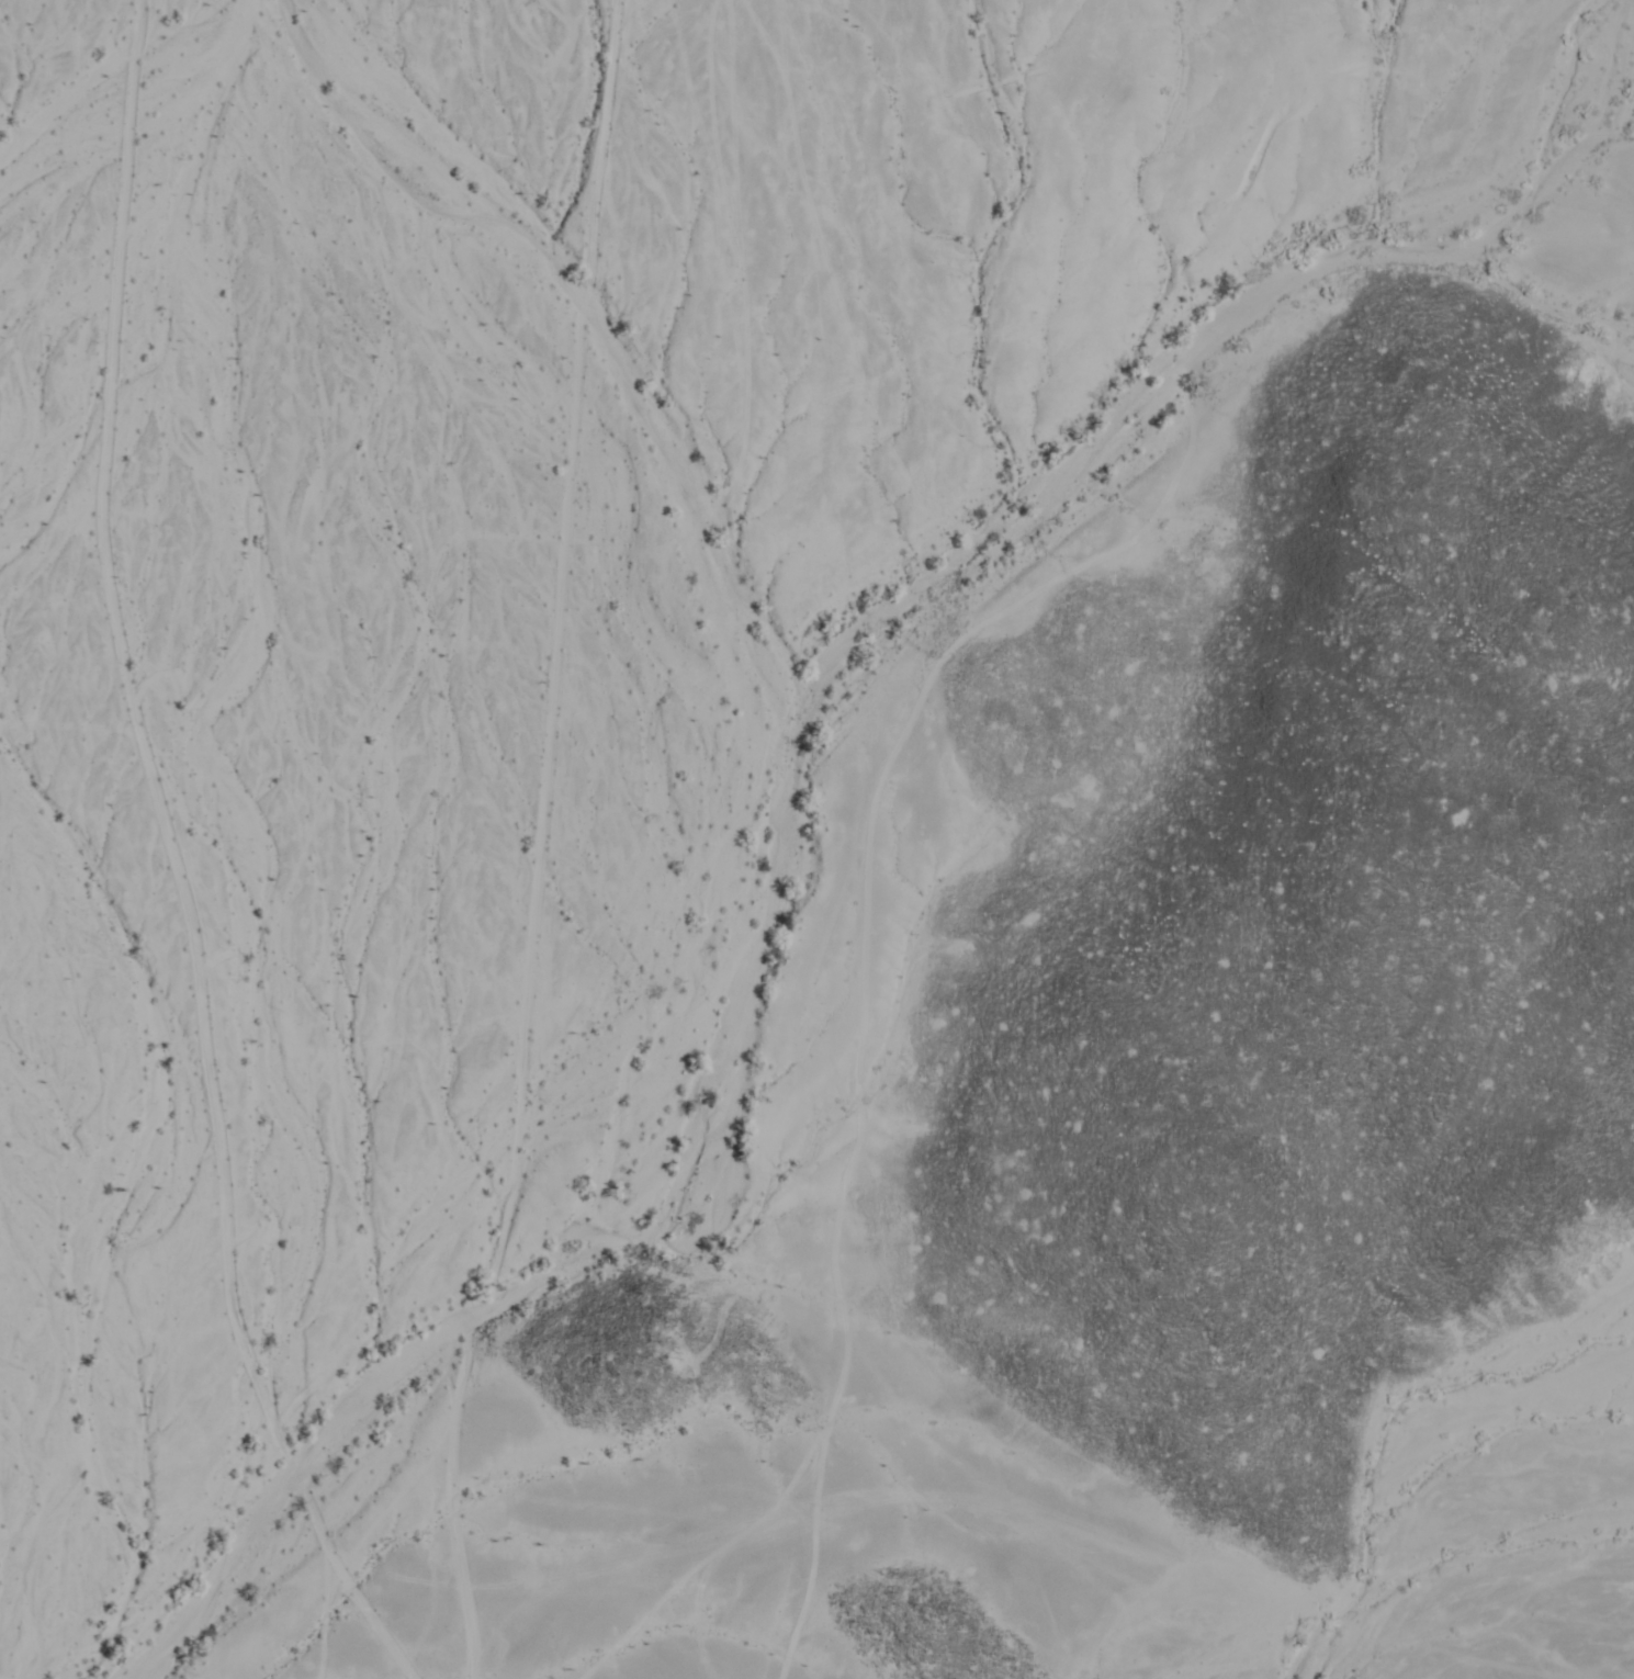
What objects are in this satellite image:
road: (542, 843)
road: (172, 858)

